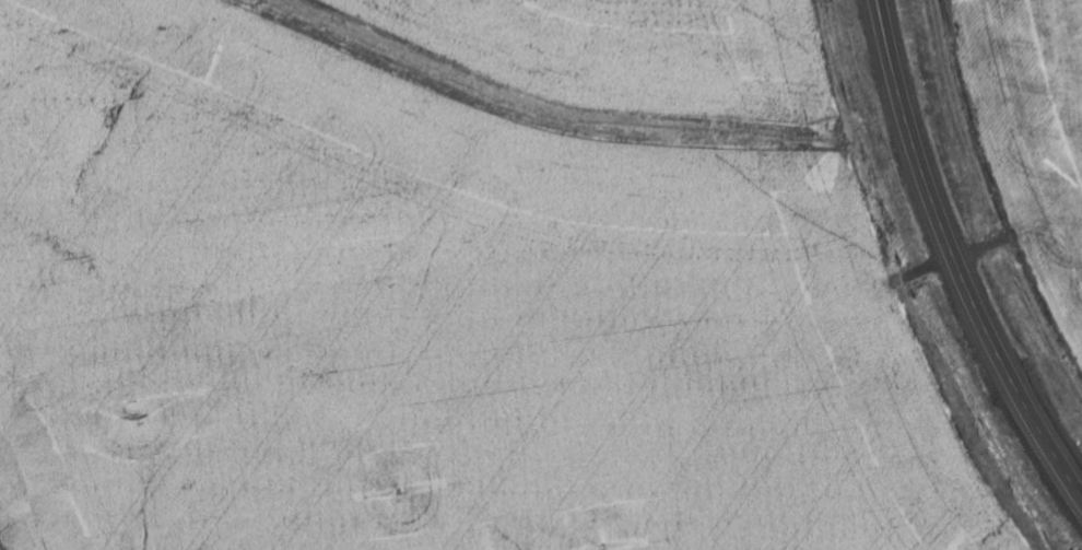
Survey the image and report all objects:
road: (954, 259)

